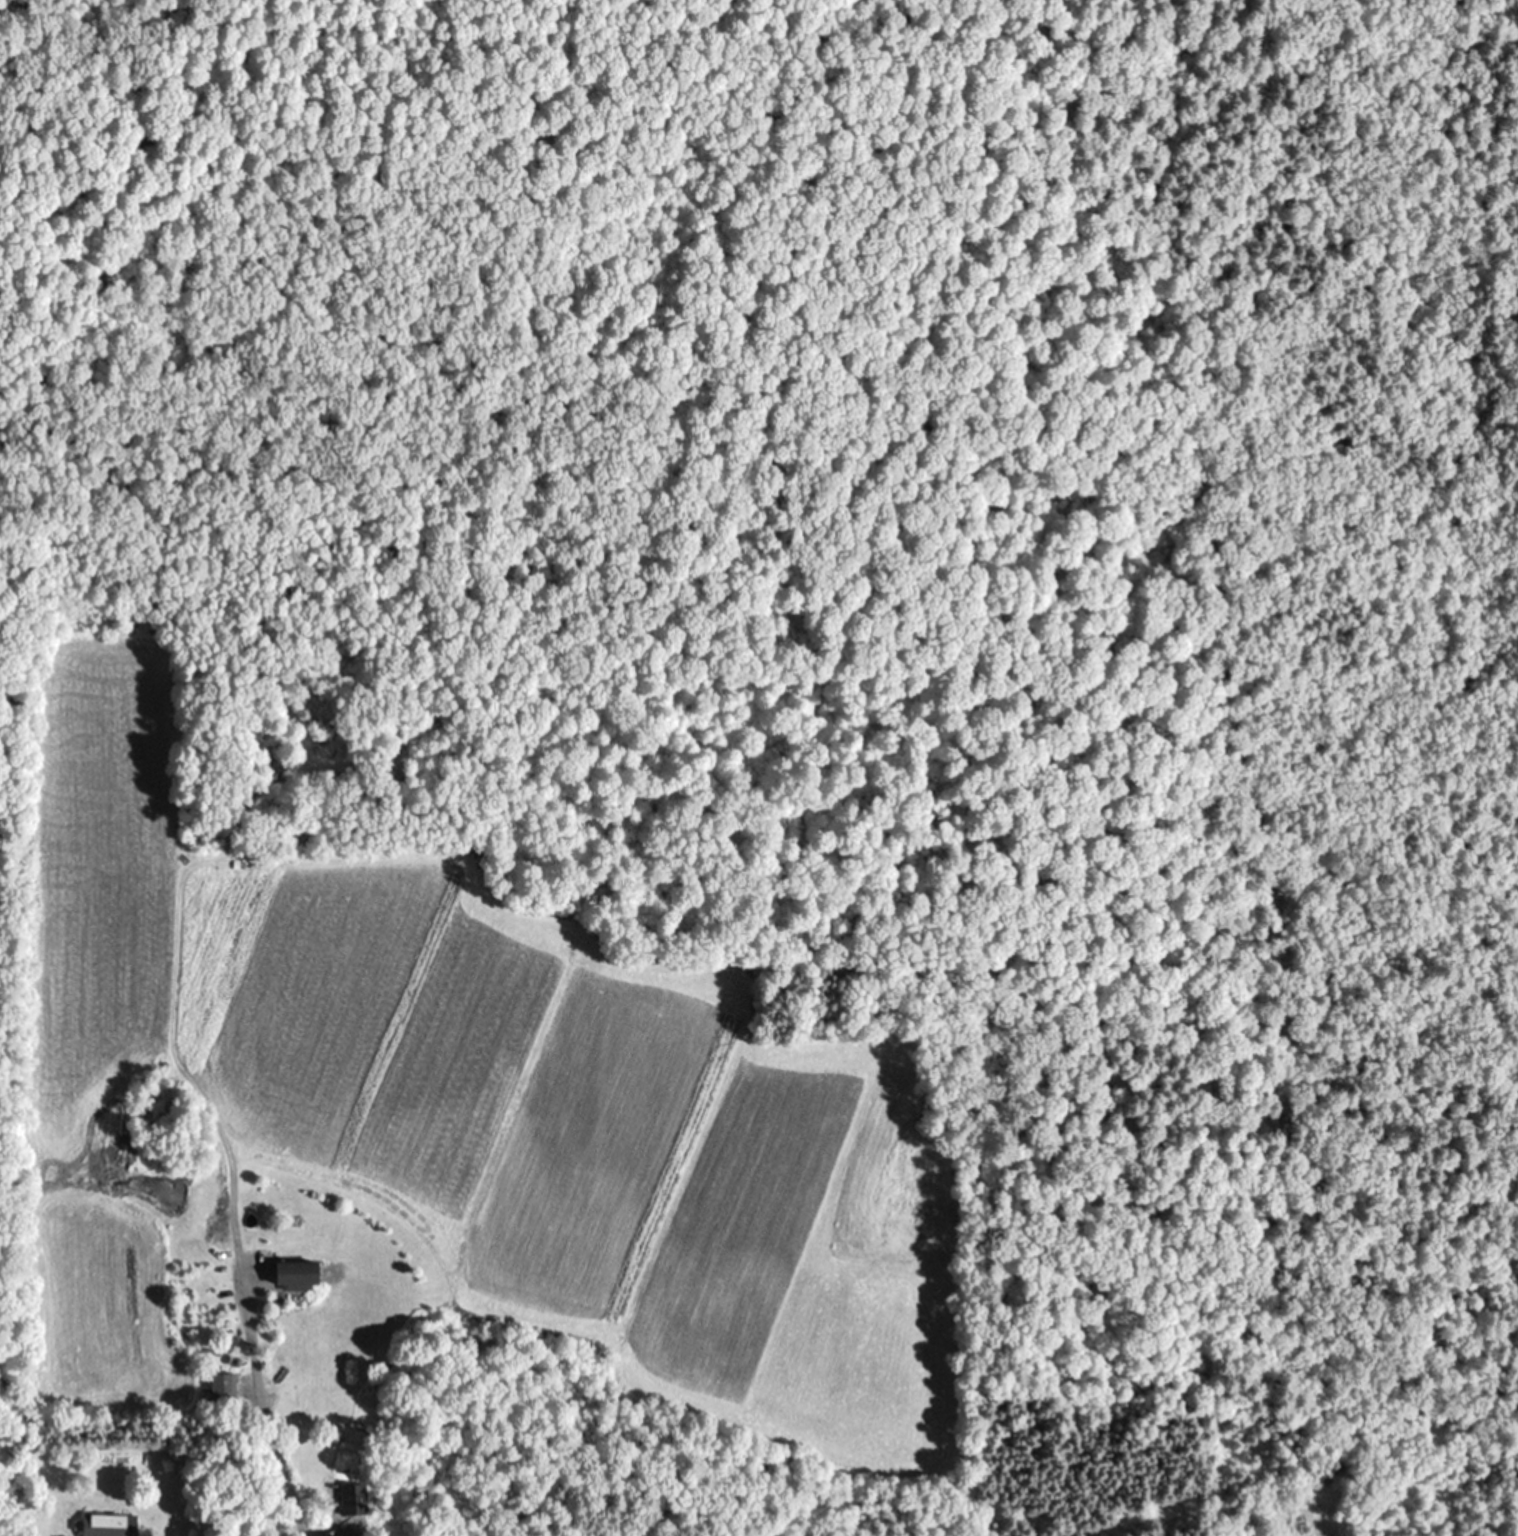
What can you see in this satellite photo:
river: (1472, 283)
river: (1426, 1019)
building: (286, 1277)
building: (217, 1393)
building: (103, 1526)

